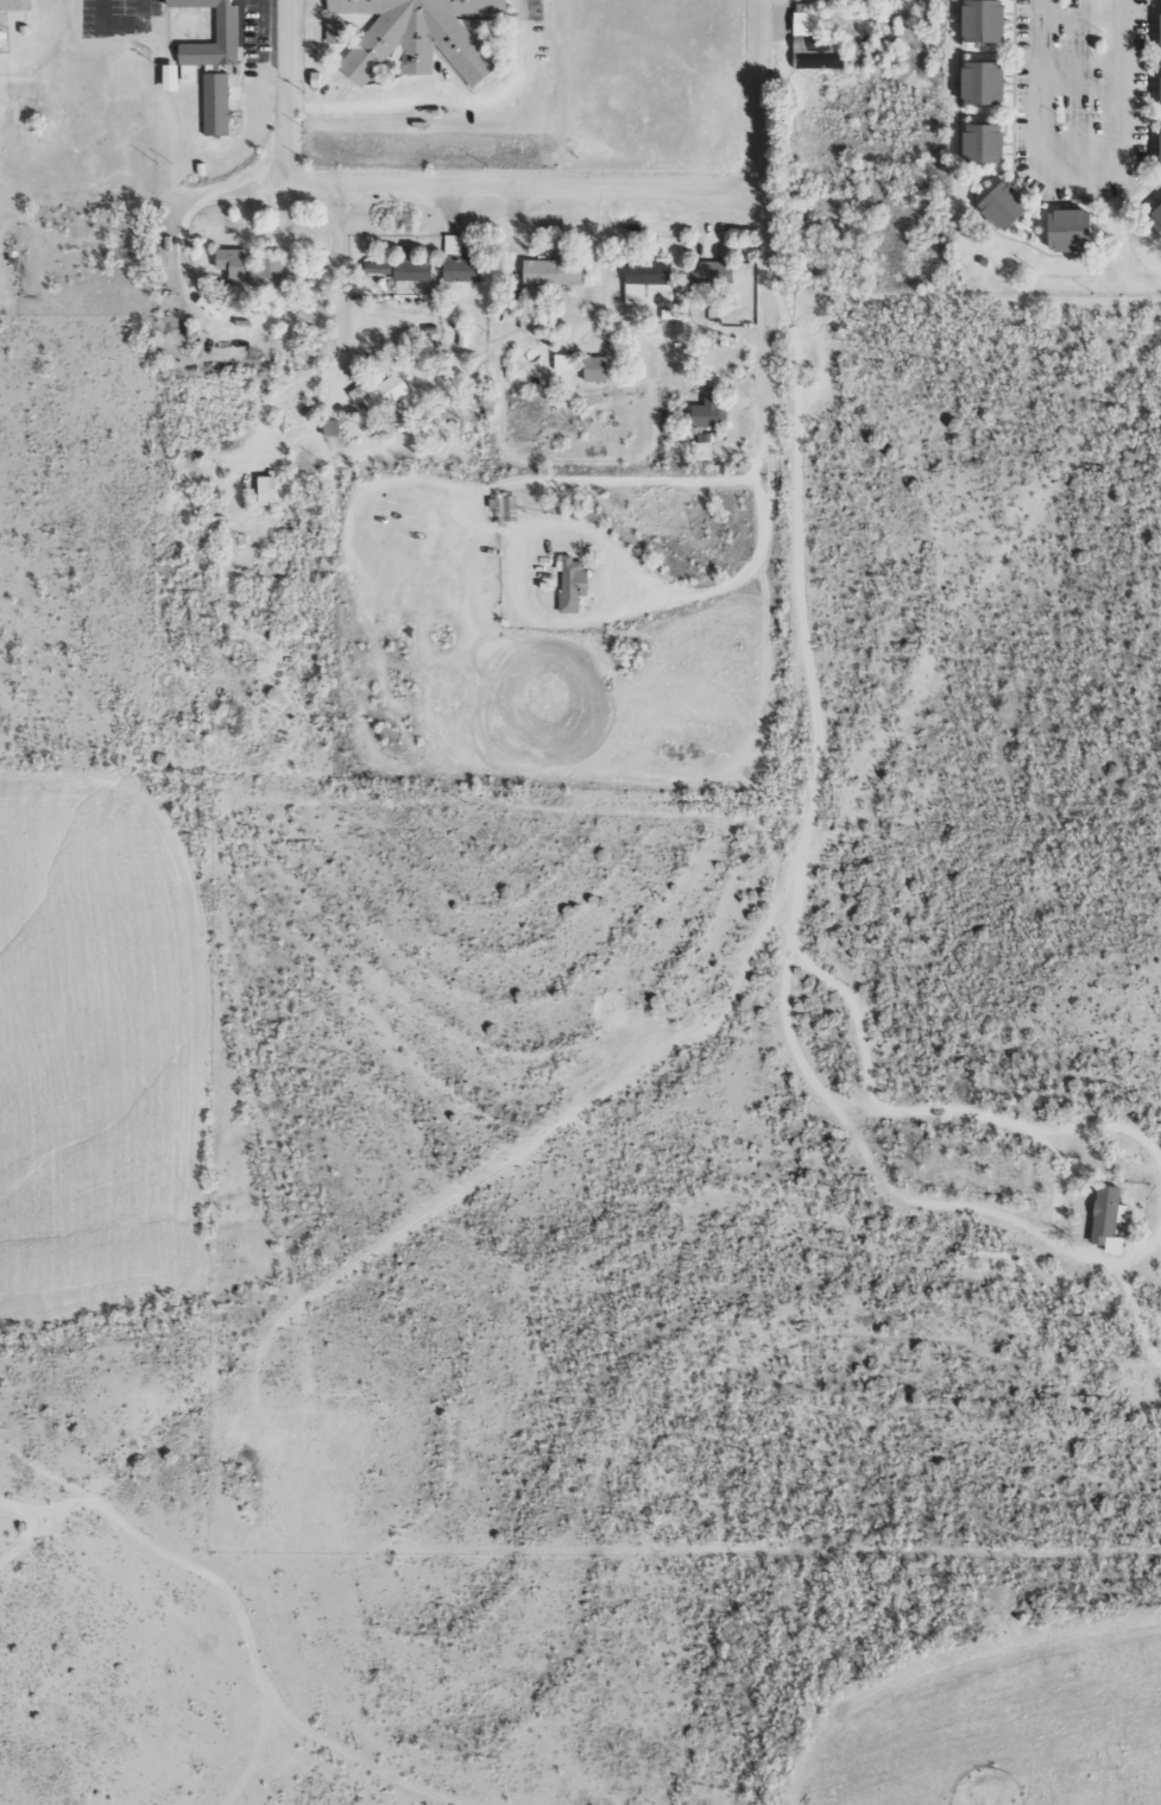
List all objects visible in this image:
building: (991, 20)
building: (227, 24)
building: (335, 32)
building: (417, 37)
building: (818, 43)
building: (189, 73)
building: (171, 76)
building: (991, 82)
road: (294, 87)
building: (216, 102)
building: (991, 143)
road: (529, 182)
building: (1012, 206)
building: (1159, 216)
building: (1080, 229)
building: (460, 260)
building: (253, 269)
building: (403, 269)
building: (554, 271)
building: (645, 276)
building: (566, 360)
building: (597, 367)
building: (383, 394)
building: (711, 411)
building: (703, 446)
building: (267, 489)
building: (506, 508)
road: (796, 535)
building: (573, 583)
building: (1109, 1218)

